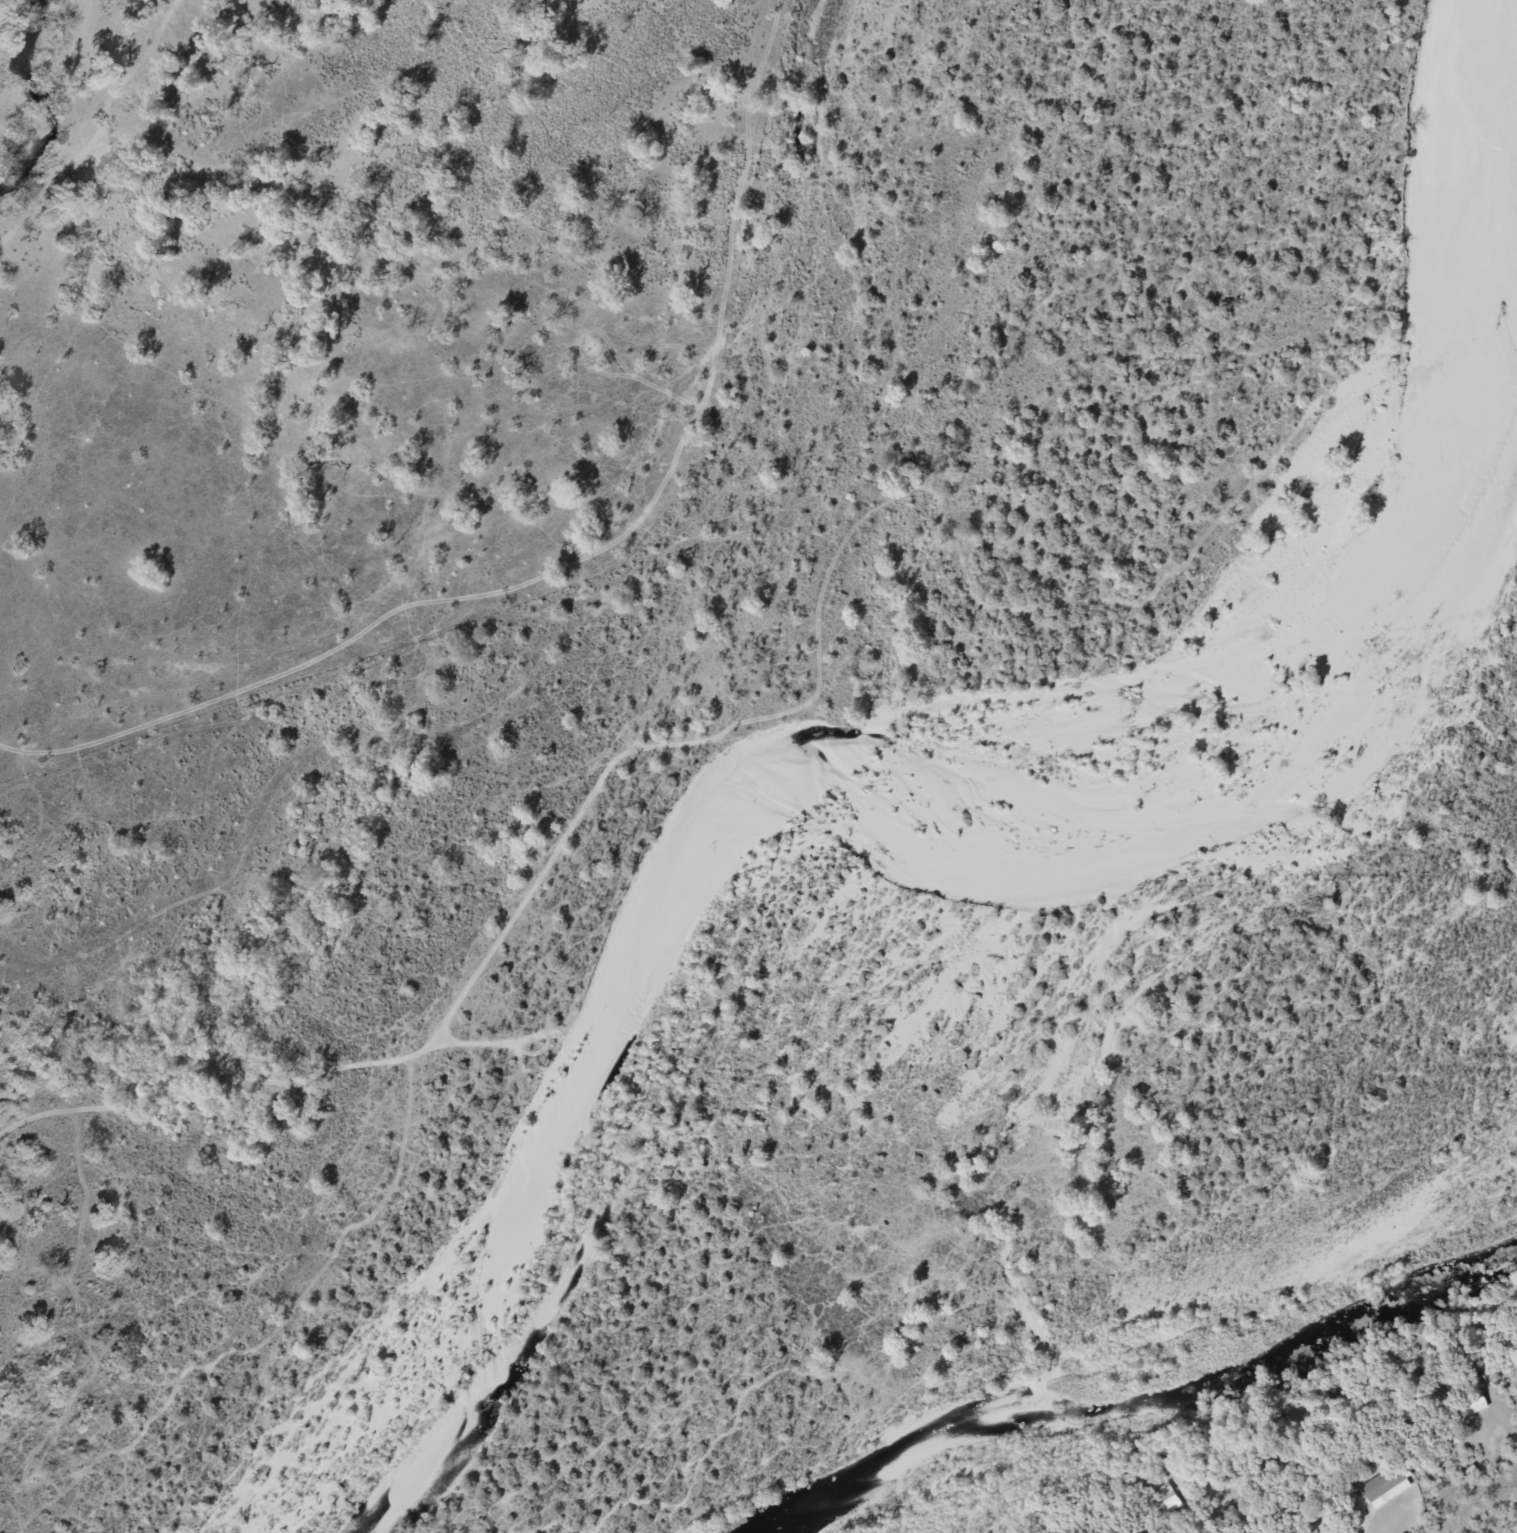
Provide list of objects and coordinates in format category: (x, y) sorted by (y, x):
river: (1231, 1328)
building: (1383, 1483)
building: (1163, 1499)

